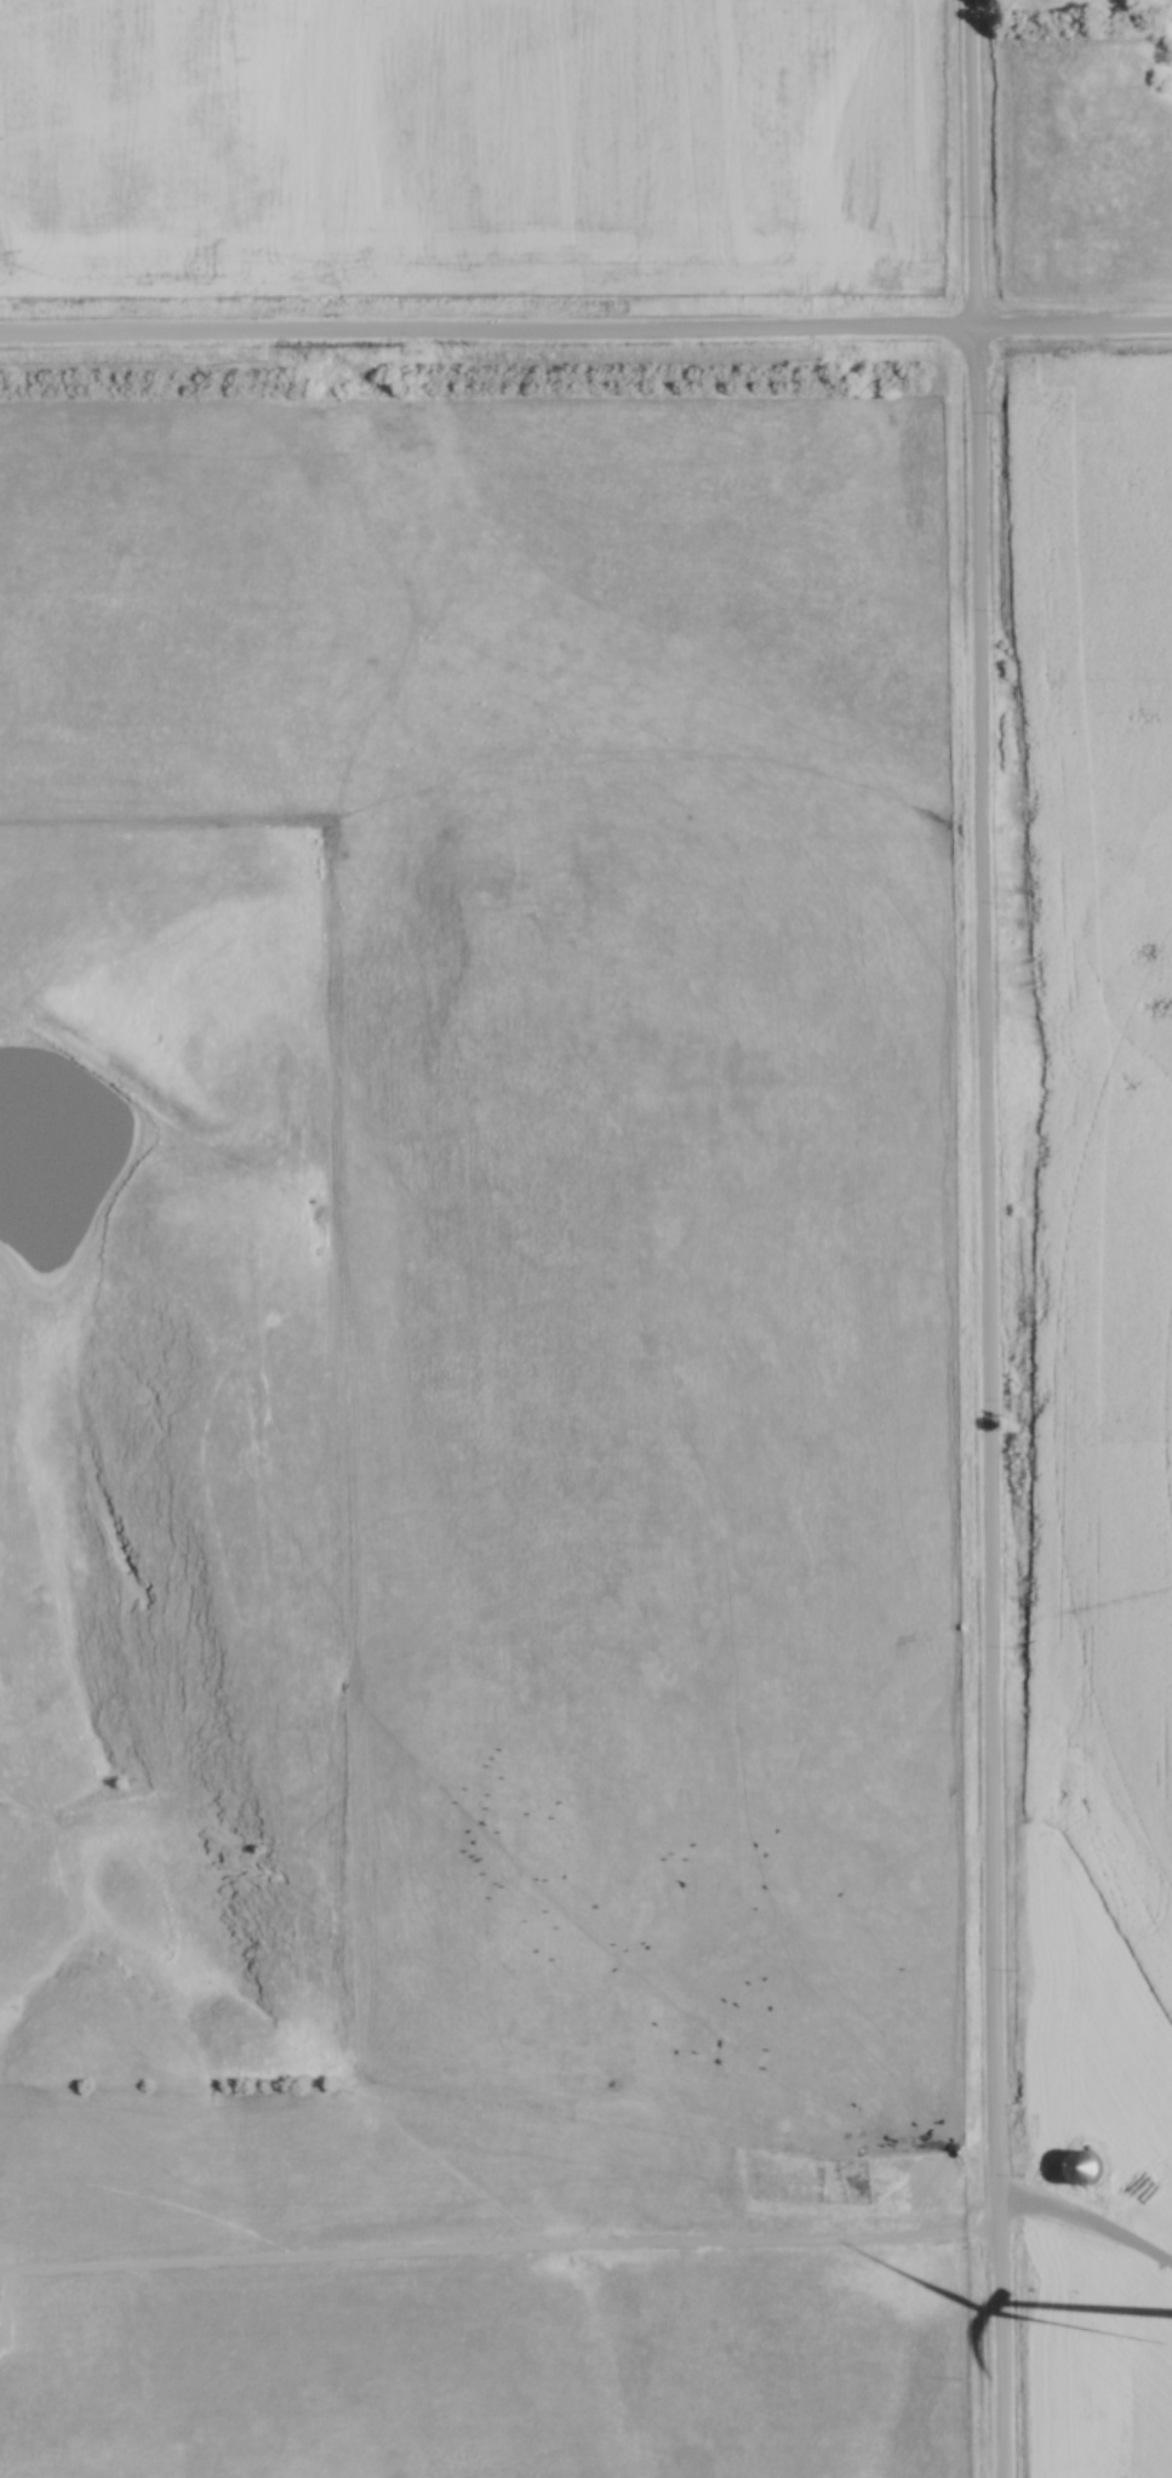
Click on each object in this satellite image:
road: (967, 167)
road: (1070, 334)
road: (484, 336)
road: (988, 1406)
building: (710, 1955)
building: (881, 2131)
road: (699, 2160)
road: (868, 2235)
road: (366, 2252)
road: (6, 2300)

